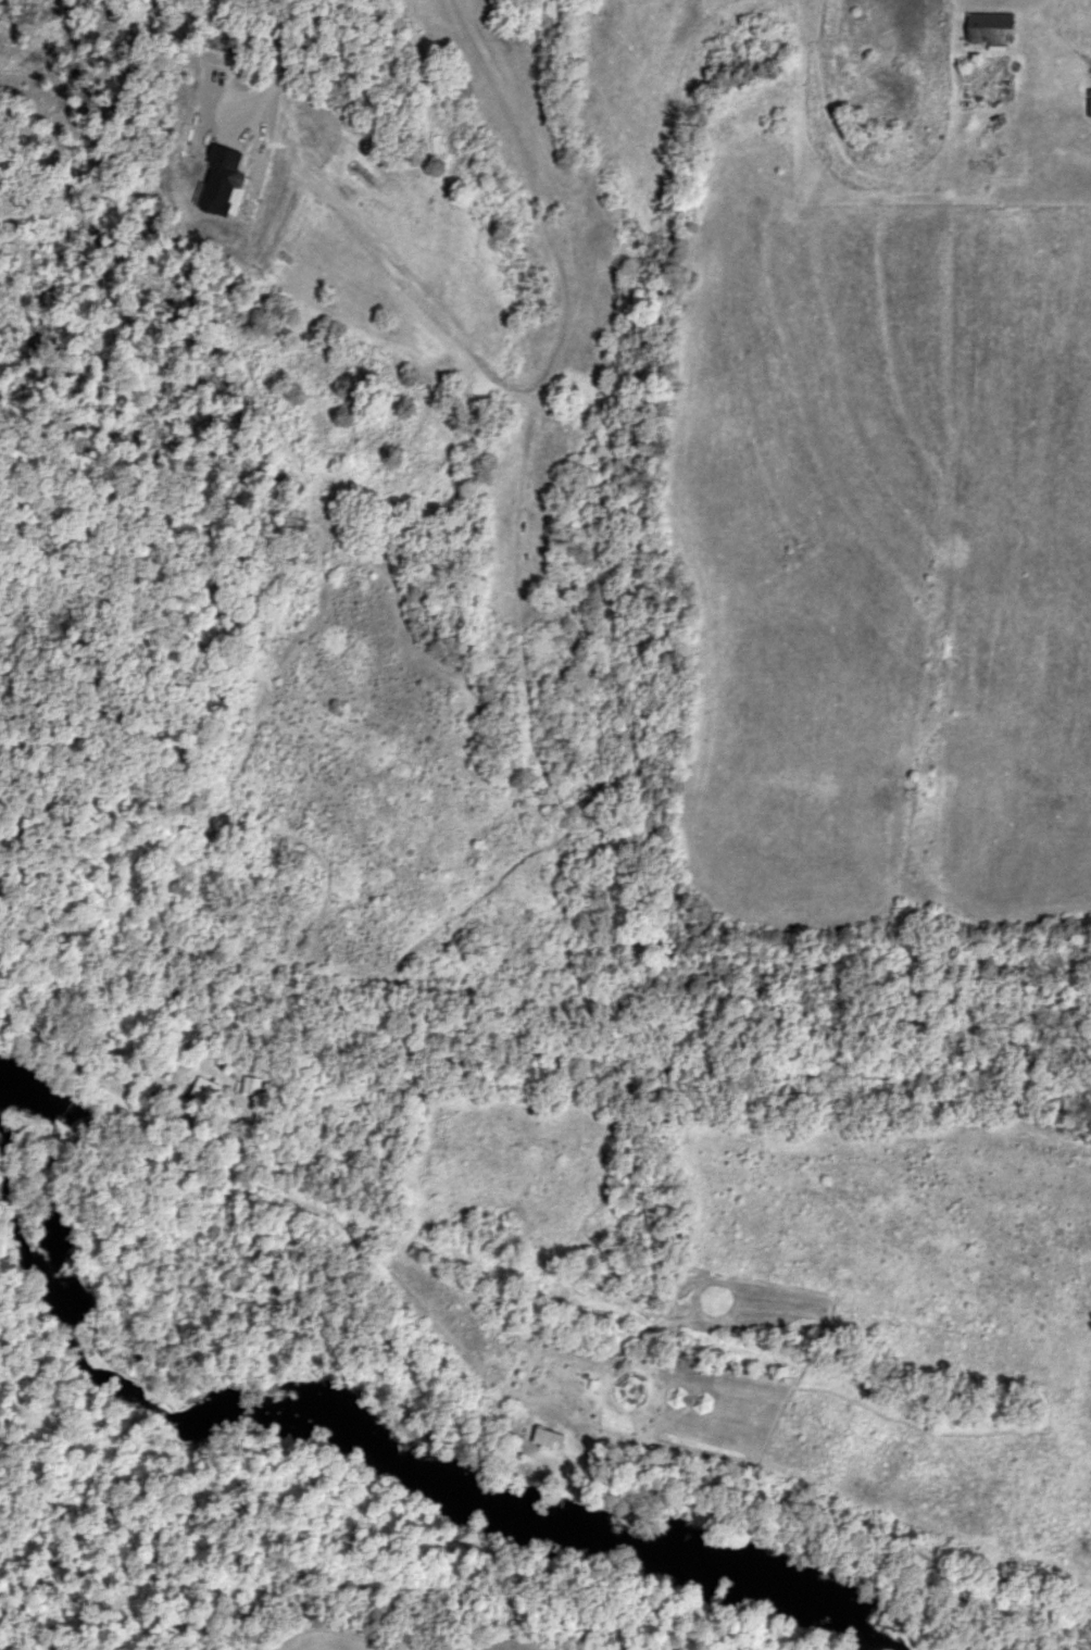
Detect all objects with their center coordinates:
building: (992, 27)
building: (254, 1087)
building: (210, 1091)
river: (351, 1428)
building: (553, 1440)

